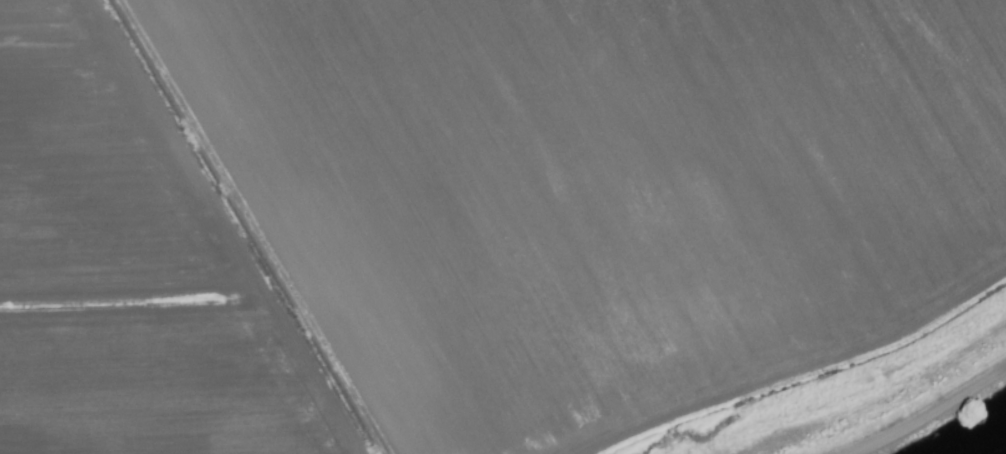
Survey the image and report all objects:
crop: (488, 220)
road: (930, 417)

